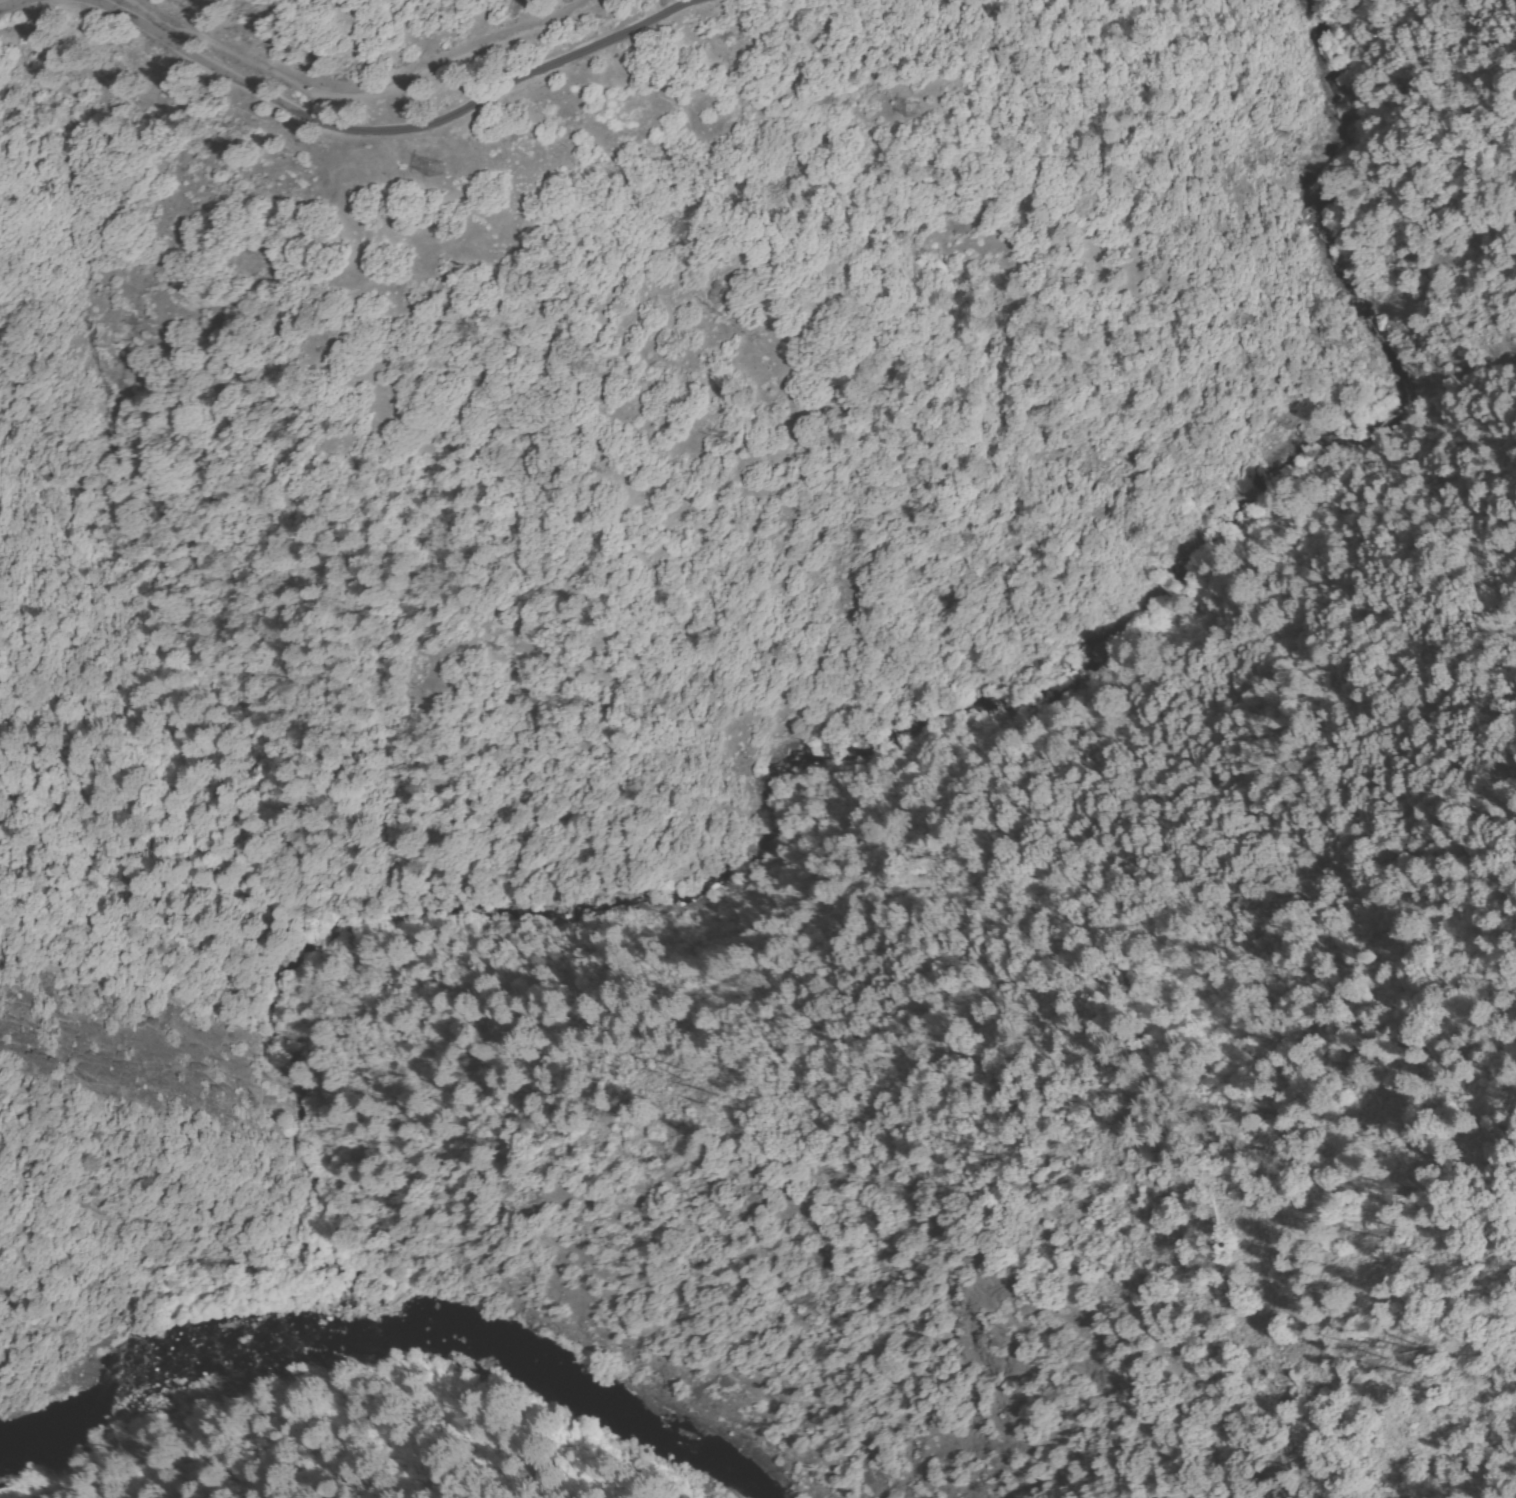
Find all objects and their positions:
power tower: (922, 111)
road: (309, 116)
power tower: (443, 171)

